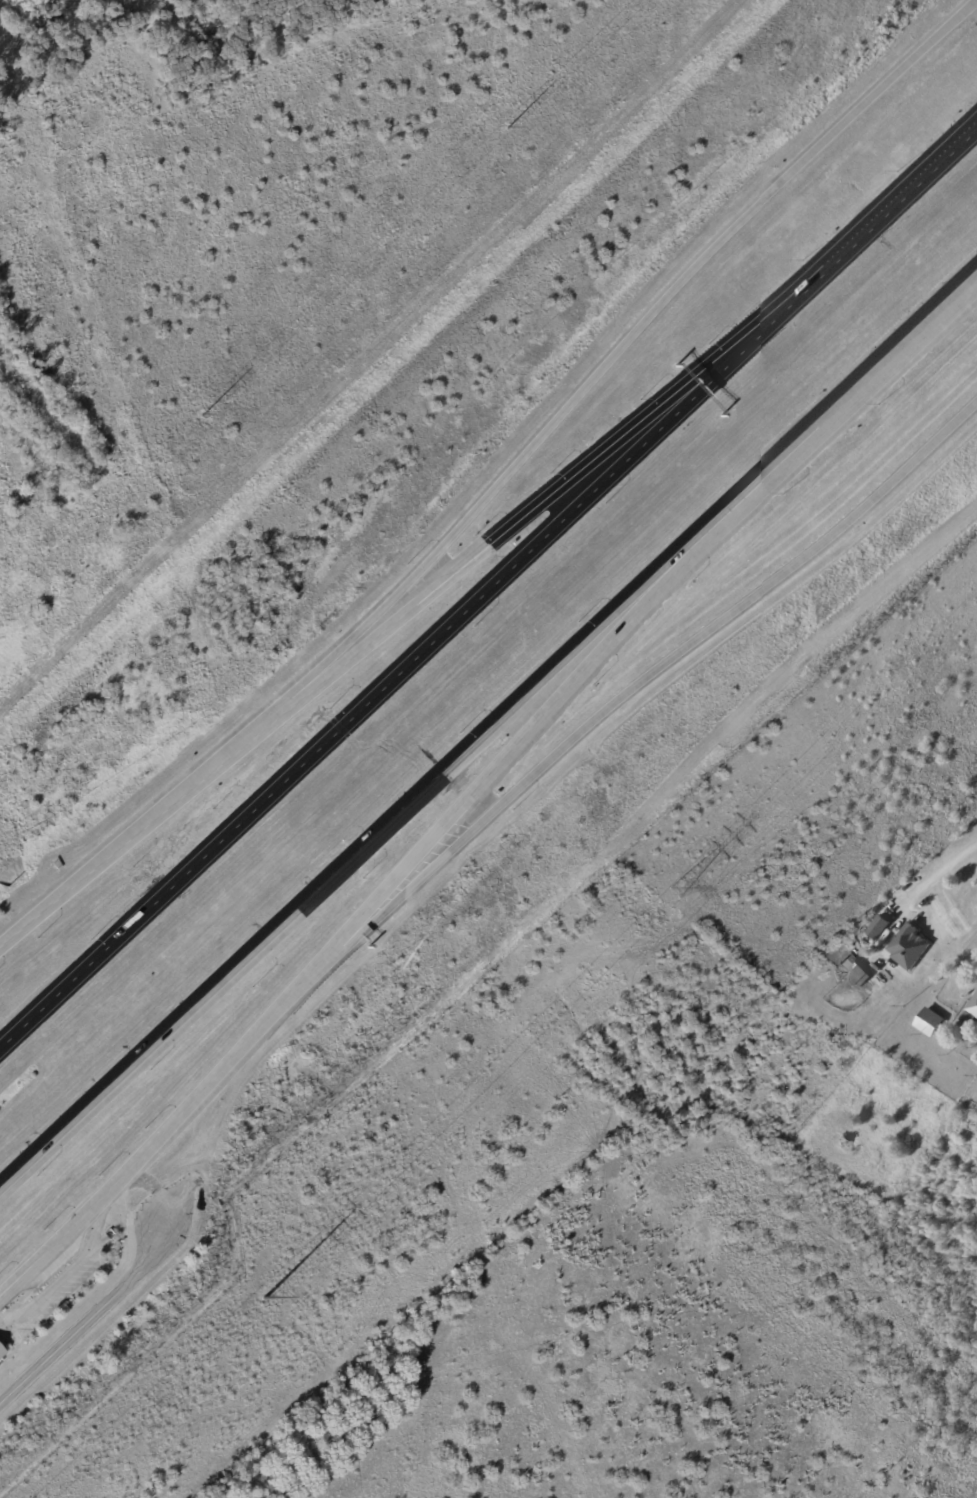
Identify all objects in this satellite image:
power tower: (514, 127)
road: (904, 199)
road: (645, 319)
road: (766, 325)
road: (893, 361)
power tower: (206, 411)
road: (519, 521)
road: (633, 689)
road: (559, 715)
road: (352, 717)
road: (167, 803)
road: (398, 806)
road: (932, 877)
power tower: (678, 894)
building: (877, 929)
building: (908, 949)
building: (852, 969)
building: (970, 1011)
building: (928, 1022)
road: (153, 1144)
parking lot: (72, 1249)
road: (65, 1273)
power tower: (263, 1301)
road: (91, 1319)
building: (2, 1351)

